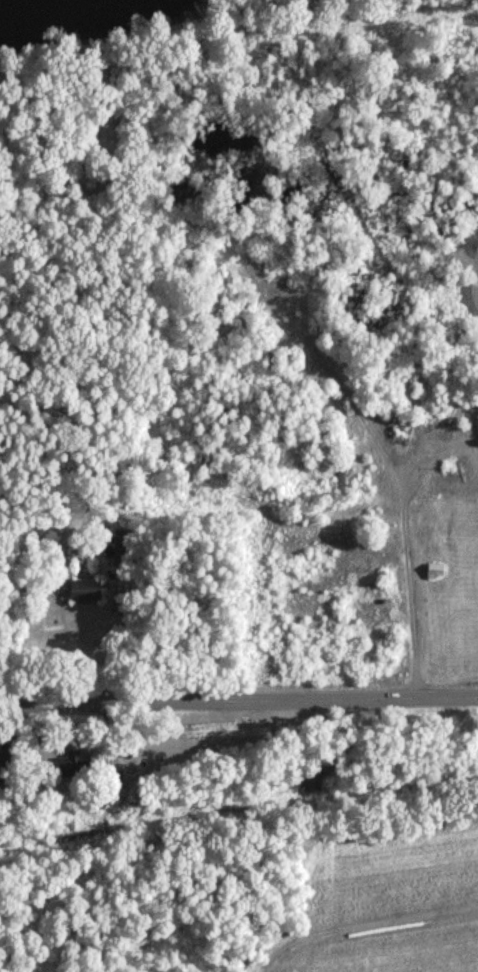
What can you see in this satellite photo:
road: (405, 482)
building: (122, 548)
building: (433, 571)
building: (83, 590)
road: (239, 700)
building: (74, 765)

